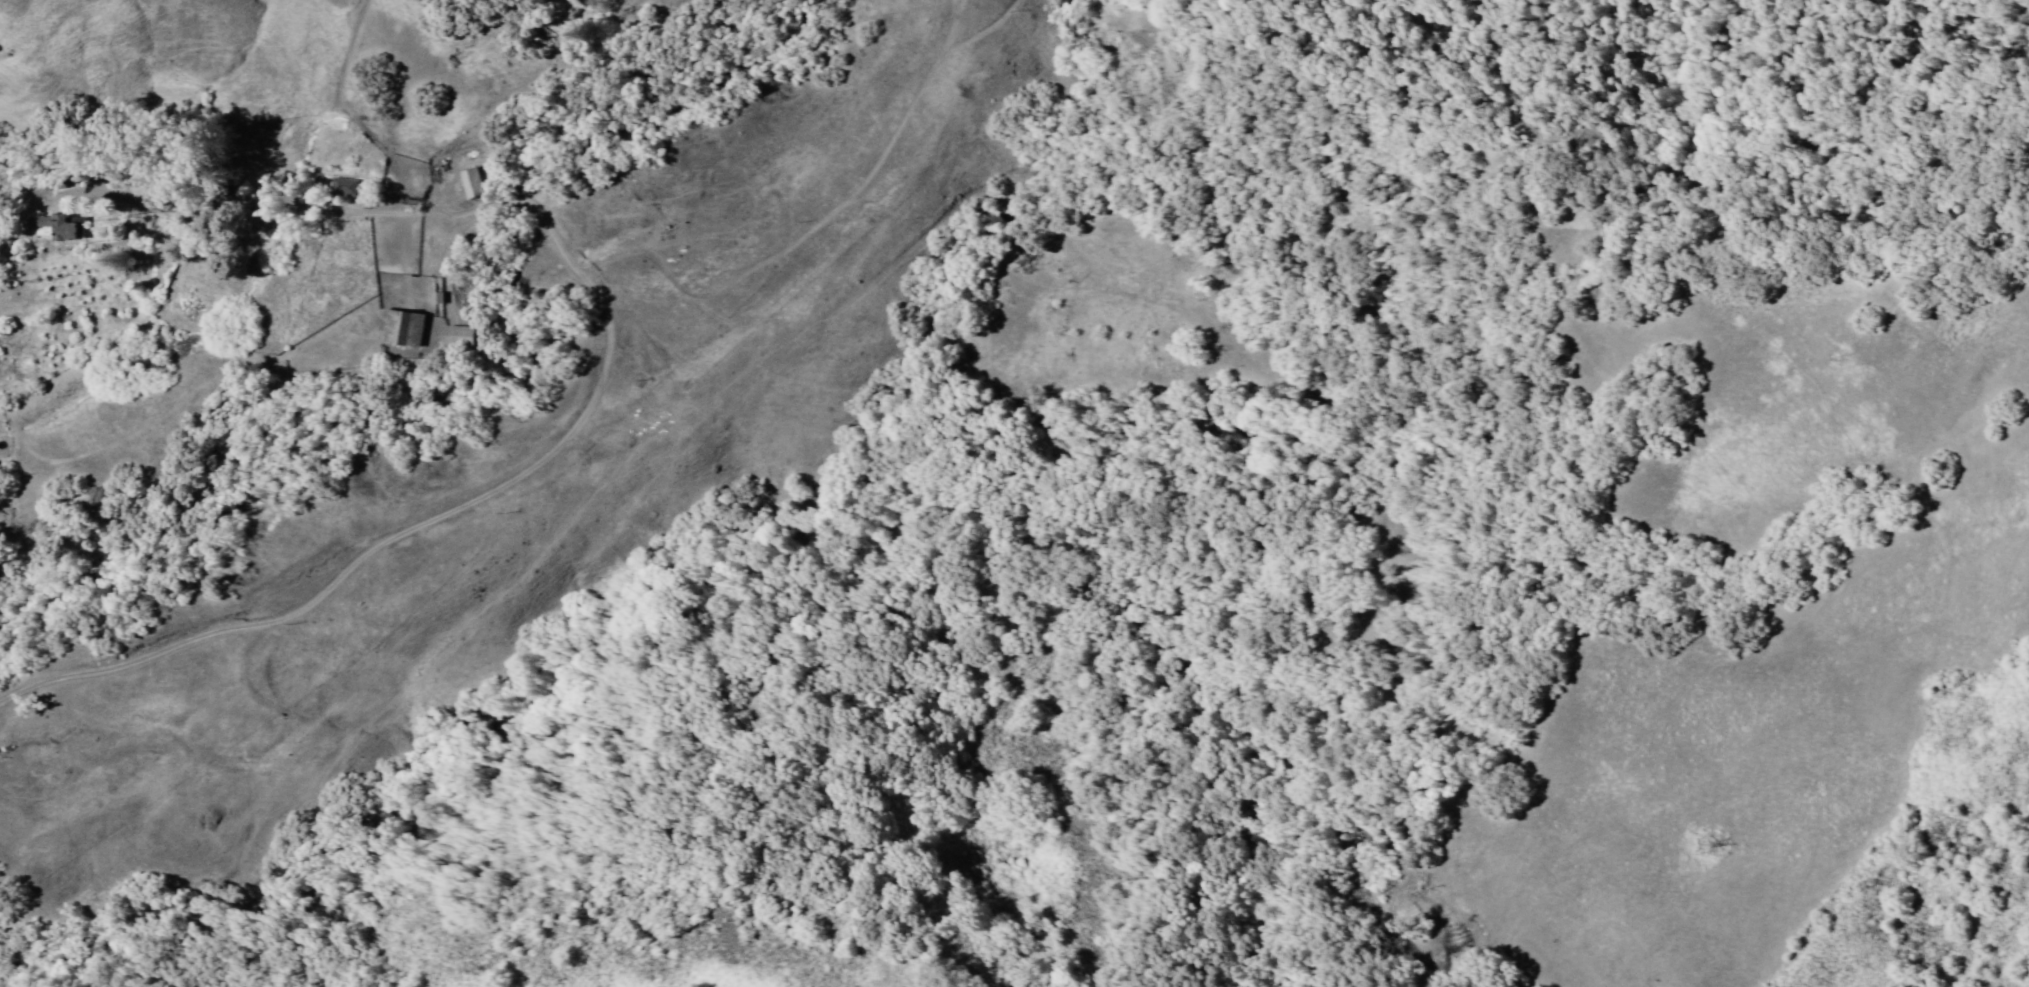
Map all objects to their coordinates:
building: (476, 180)
building: (349, 188)
building: (62, 226)
building: (443, 296)
building: (407, 326)
building: (466, 337)
road: (562, 433)

